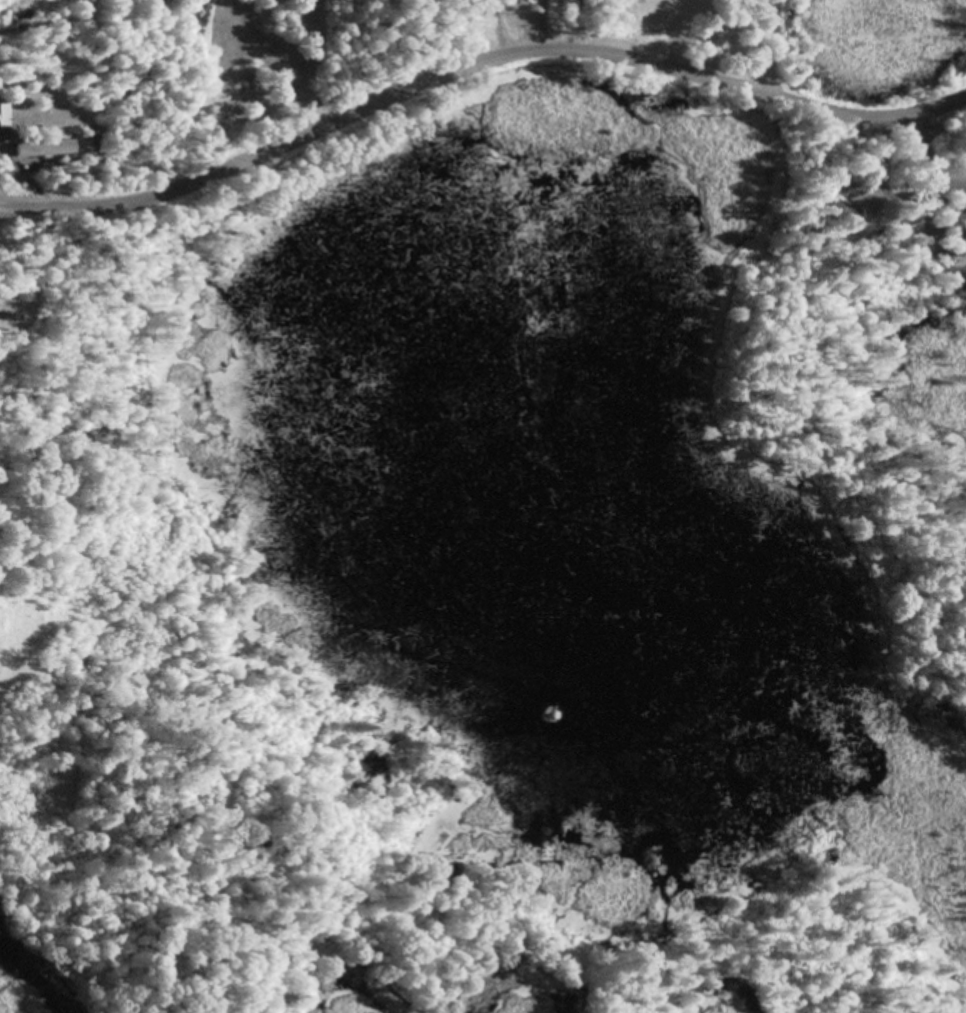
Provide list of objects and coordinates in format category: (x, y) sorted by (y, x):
road: (753, 45)
road: (476, 63)
building: (5, 110)
building: (47, 150)
building: (11, 317)

